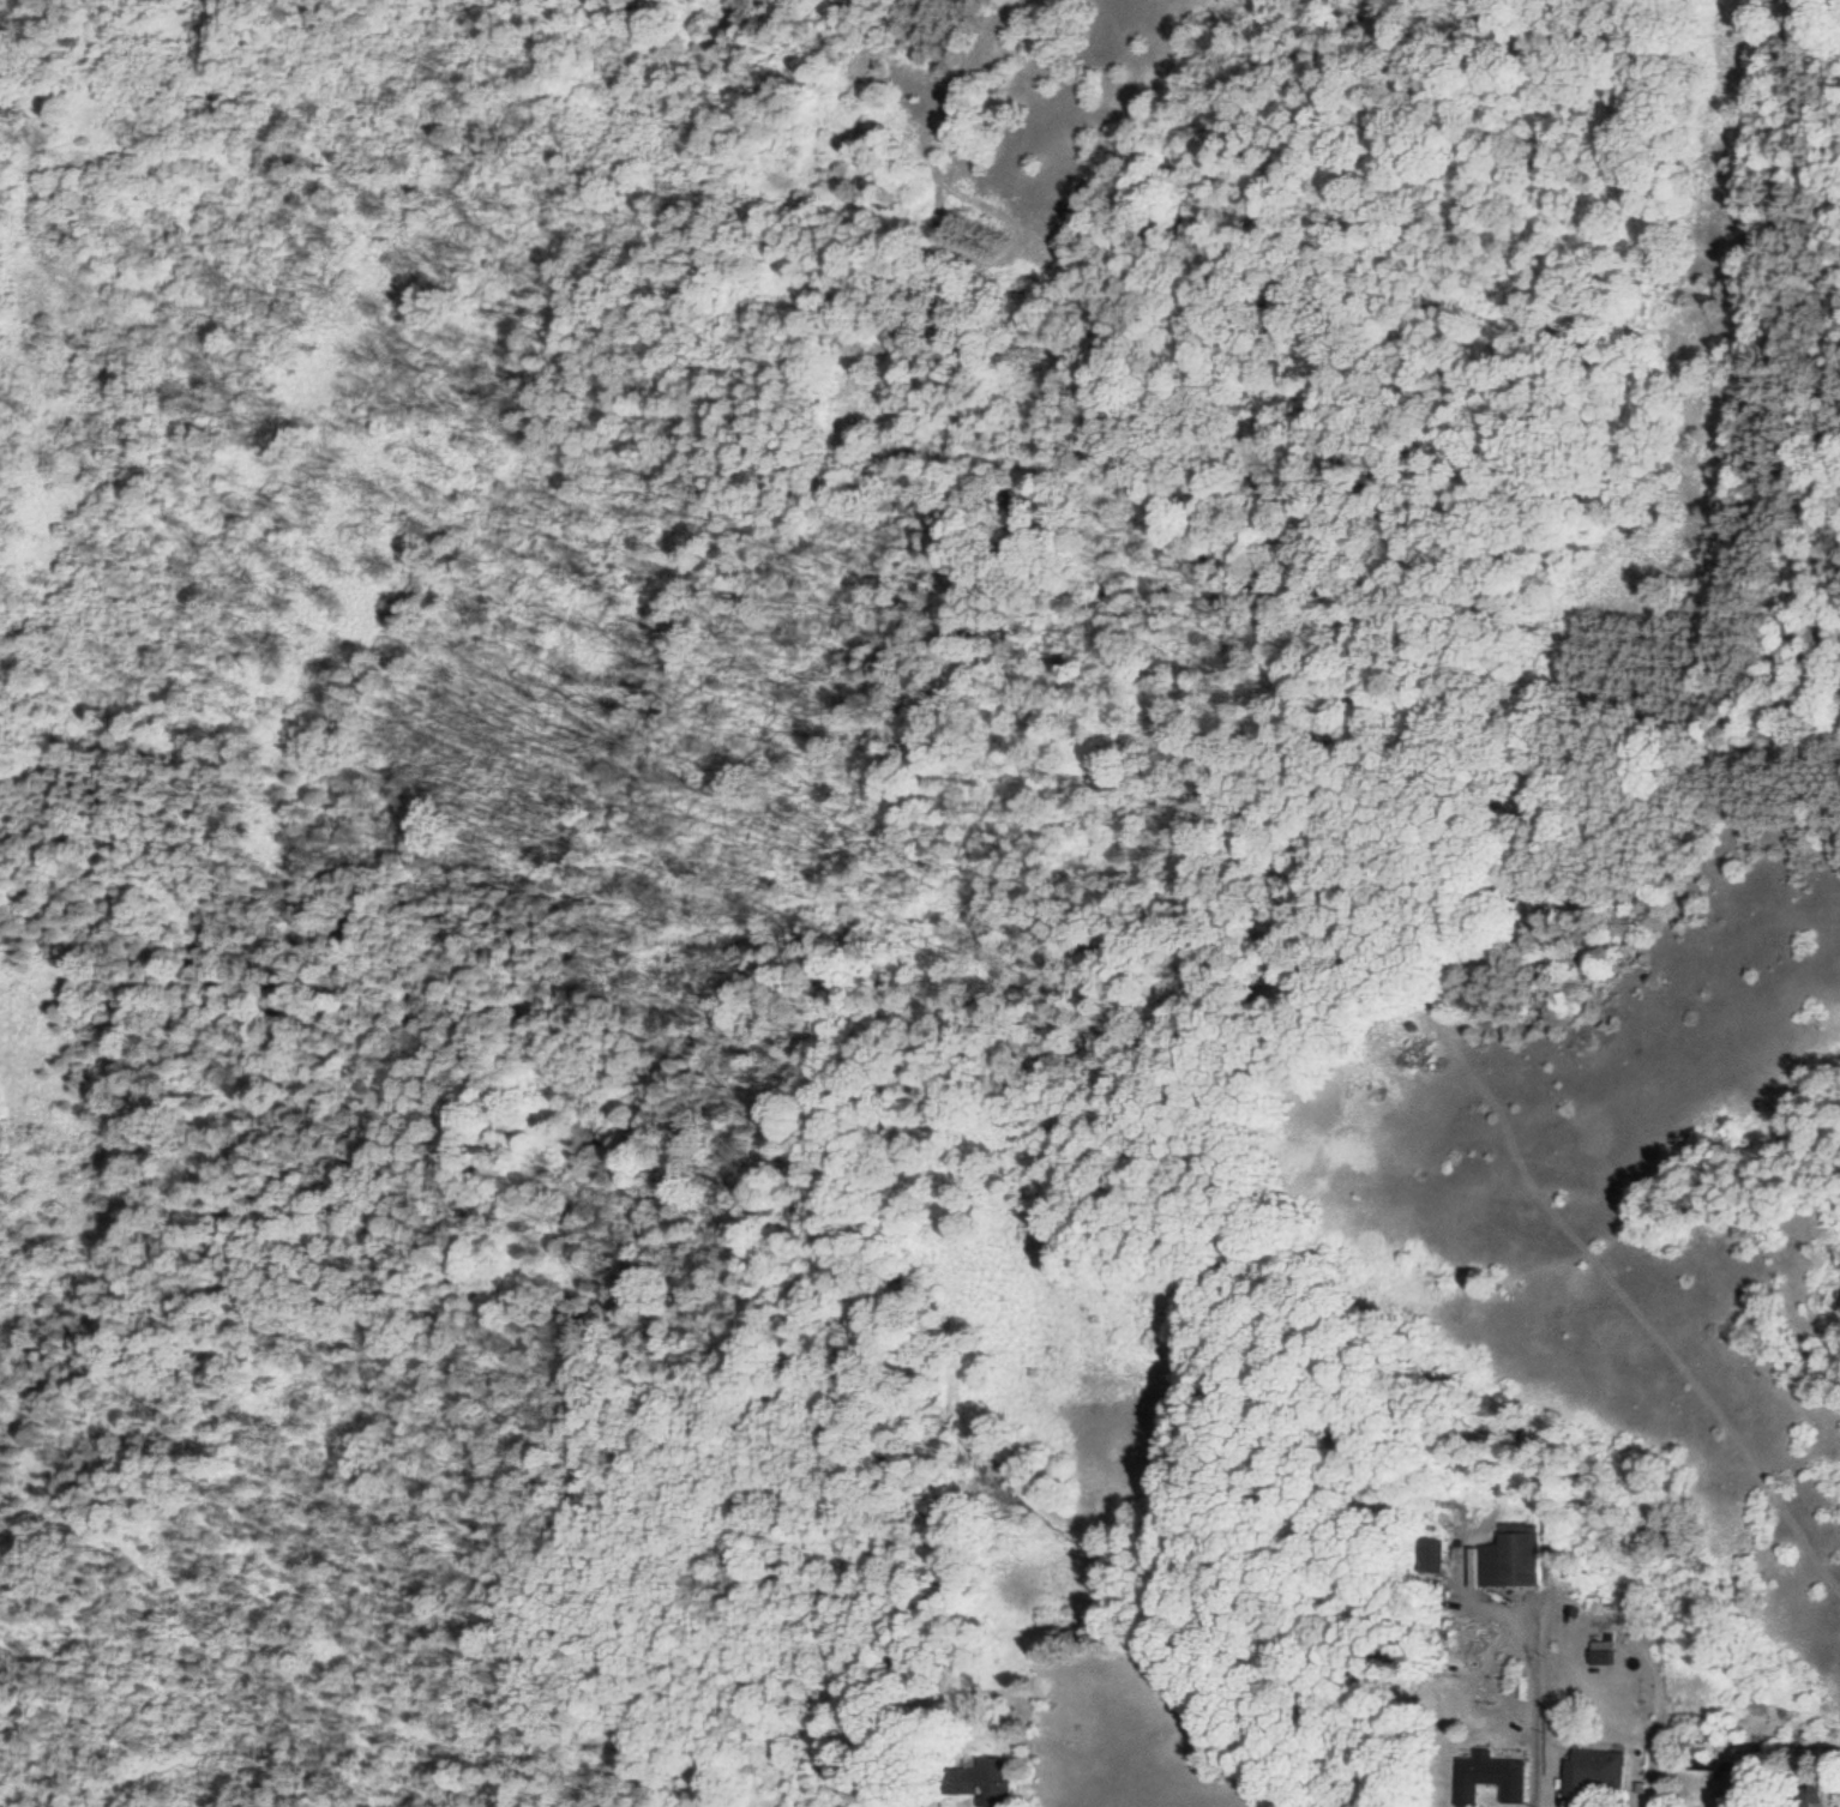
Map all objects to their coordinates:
building: (1430, 1555)
building: (1508, 1558)
building: (1594, 1773)
building: (1491, 1778)
building: (976, 1782)
building: (1806, 1795)

